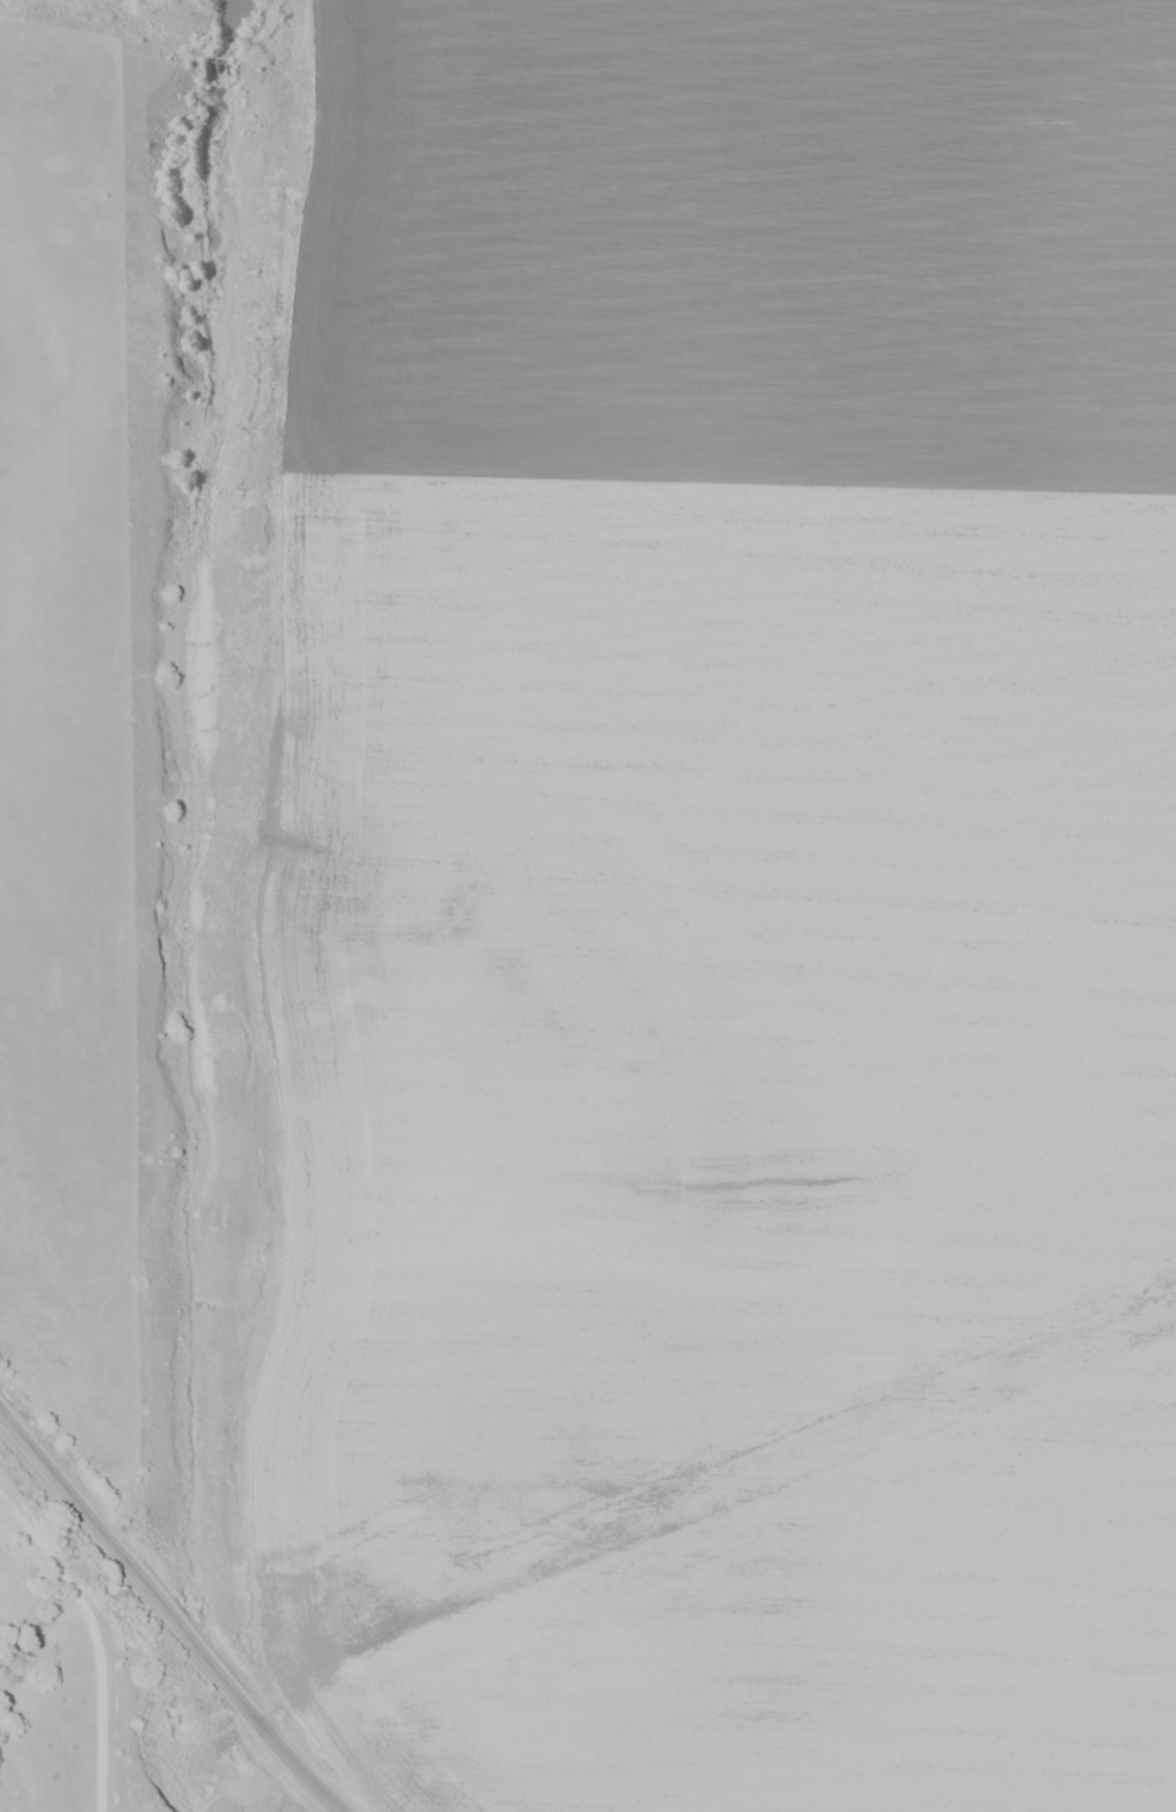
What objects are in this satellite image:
road: (165, 1611)
road: (99, 1635)

